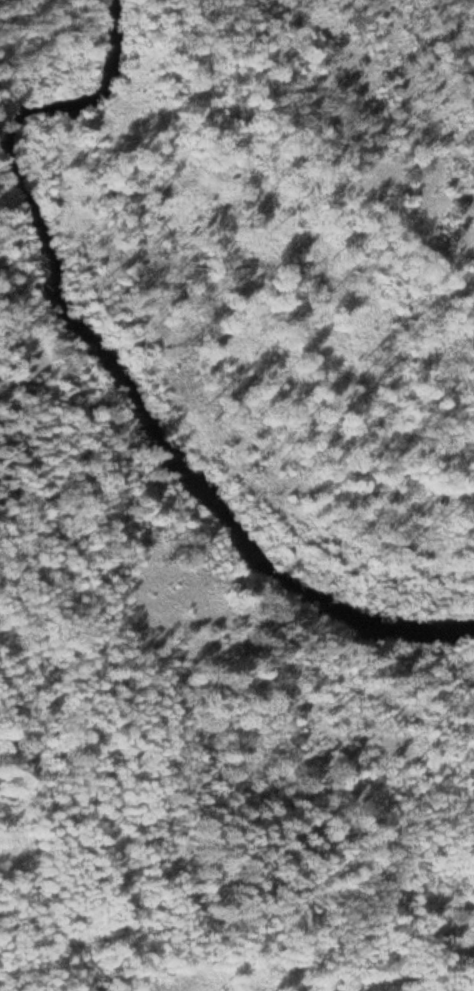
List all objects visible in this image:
river: (116, 369)
road: (217, 597)

